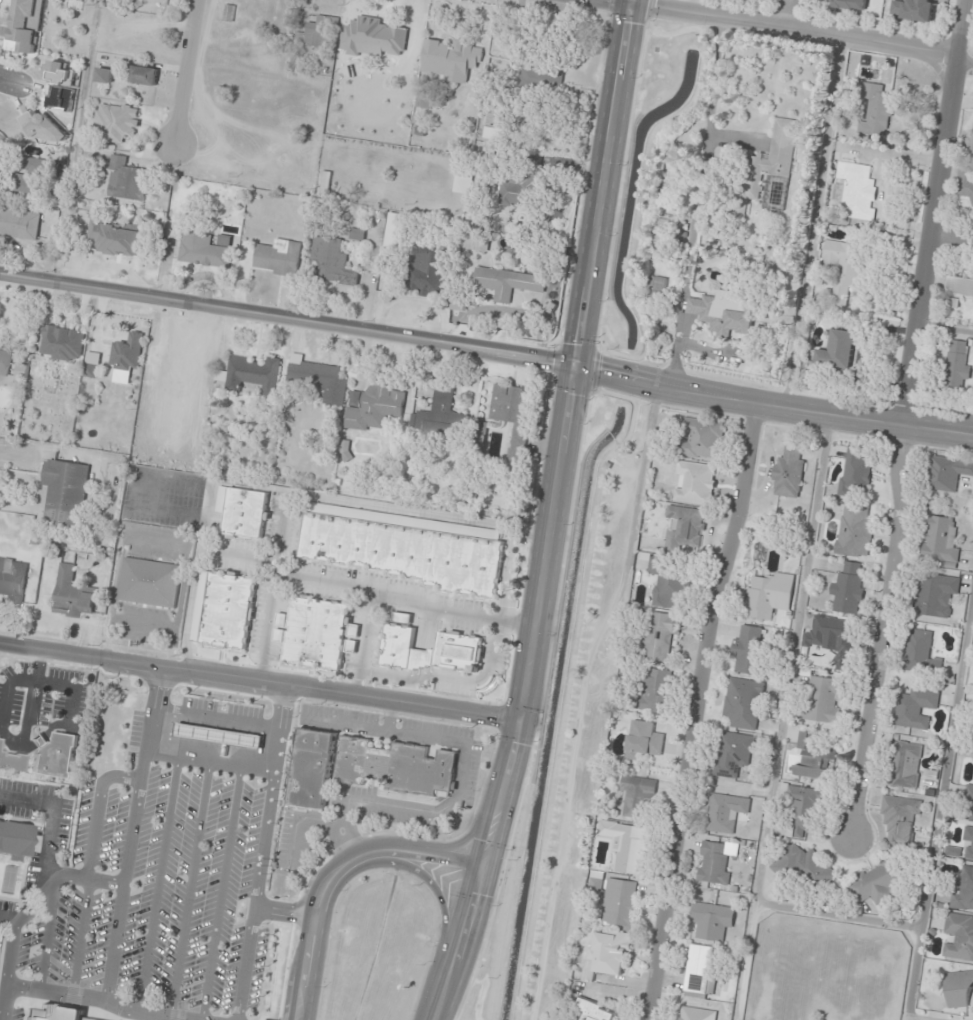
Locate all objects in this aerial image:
road: (615, 2)
building: (850, 4)
building: (73, 5)
traffic signals: (631, 5)
road: (687, 6)
road: (651, 11)
building: (229, 13)
road: (784, 14)
road: (803, 31)
building: (317, 33)
building: (23, 40)
building: (408, 43)
building: (452, 60)
road: (186, 72)
building: (104, 76)
building: (145, 76)
building: (541, 80)
road: (10, 83)
building: (425, 101)
building: (876, 111)
building: (117, 122)
building: (972, 132)
building: (492, 133)
building: (773, 158)
building: (31, 176)
road: (645, 179)
building: (127, 180)
building: (463, 182)
building: (965, 182)
building: (856, 191)
building: (513, 193)
building: (19, 224)
building: (396, 231)
building: (358, 234)
road: (954, 236)
building: (116, 238)
building: (203, 251)
building: (278, 258)
building: (333, 262)
building: (846, 266)
building: (428, 269)
building: (507, 283)
building: (960, 288)
building: (722, 315)
building: (62, 344)
road: (451, 347)
building: (837, 351)
building: (128, 353)
building: (5, 362)
building: (958, 364)
traffic signals: (576, 368)
building: (91, 371)
road: (596, 371)
building: (252, 375)
building: (321, 380)
building: (510, 405)
building: (376, 408)
building: (441, 417)
road: (903, 420)
road: (938, 430)
road: (566, 434)
building: (703, 439)
road: (15, 454)
building: (855, 472)
building: (789, 473)
building: (949, 473)
building: (696, 483)
building: (66, 493)
building: (243, 512)
building: (686, 529)
building: (856, 531)
building: (940, 540)
building: (401, 547)
building: (12, 577)
building: (150, 582)
building: (670, 582)
building: (848, 588)
building: (72, 595)
building: (936, 595)
building: (770, 596)
building: (224, 609)
building: (317, 632)
building: (660, 635)
building: (833, 637)
building: (460, 643)
building: (750, 649)
building: (920, 653)
road: (260, 679)
road: (570, 686)
building: (655, 690)
road: (583, 698)
building: (825, 700)
building: (744, 703)
road: (540, 706)
building: (915, 708)
road: (697, 710)
traffic signals: (521, 717)
road: (214, 719)
building: (219, 735)
gas station: (219, 735)
building: (0, 739)
building: (643, 740)
building: (733, 754)
building: (55, 756)
building: (812, 759)
building: (12, 762)
road: (207, 762)
building: (394, 764)
building: (906, 765)
building: (972, 765)
building: (310, 767)
building: (969, 793)
building: (637, 796)
road: (95, 811)
building: (806, 811)
building: (726, 813)
building: (900, 820)
road: (49, 821)
road: (129, 833)
building: (12, 839)
building: (964, 841)
building: (627, 846)
road: (260, 851)
building: (715, 863)
traffic signals: (482, 866)
building: (804, 868)
road: (335, 874)
road: (425, 877)
park: (7, 879)
building: (877, 883)
road: (156, 885)
road: (188, 890)
building: (963, 892)
road: (220, 894)
road: (36, 900)
building: (620, 902)
road: (284, 913)
road: (9, 917)
building: (712, 921)
road: (47, 936)
road: (79, 937)
building: (958, 938)
road: (461, 944)
building: (610, 953)
building: (701, 970)
building: (959, 989)
road: (95, 999)
road: (5, 1003)
building: (595, 1011)
building: (56, 1013)
building: (696, 1014)
road: (434, 1019)

